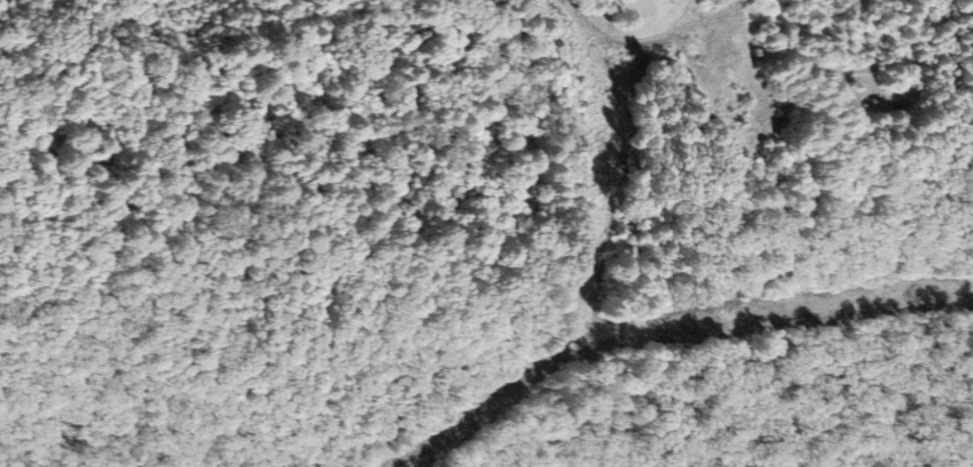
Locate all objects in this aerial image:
road: (639, 149)
road: (368, 192)

